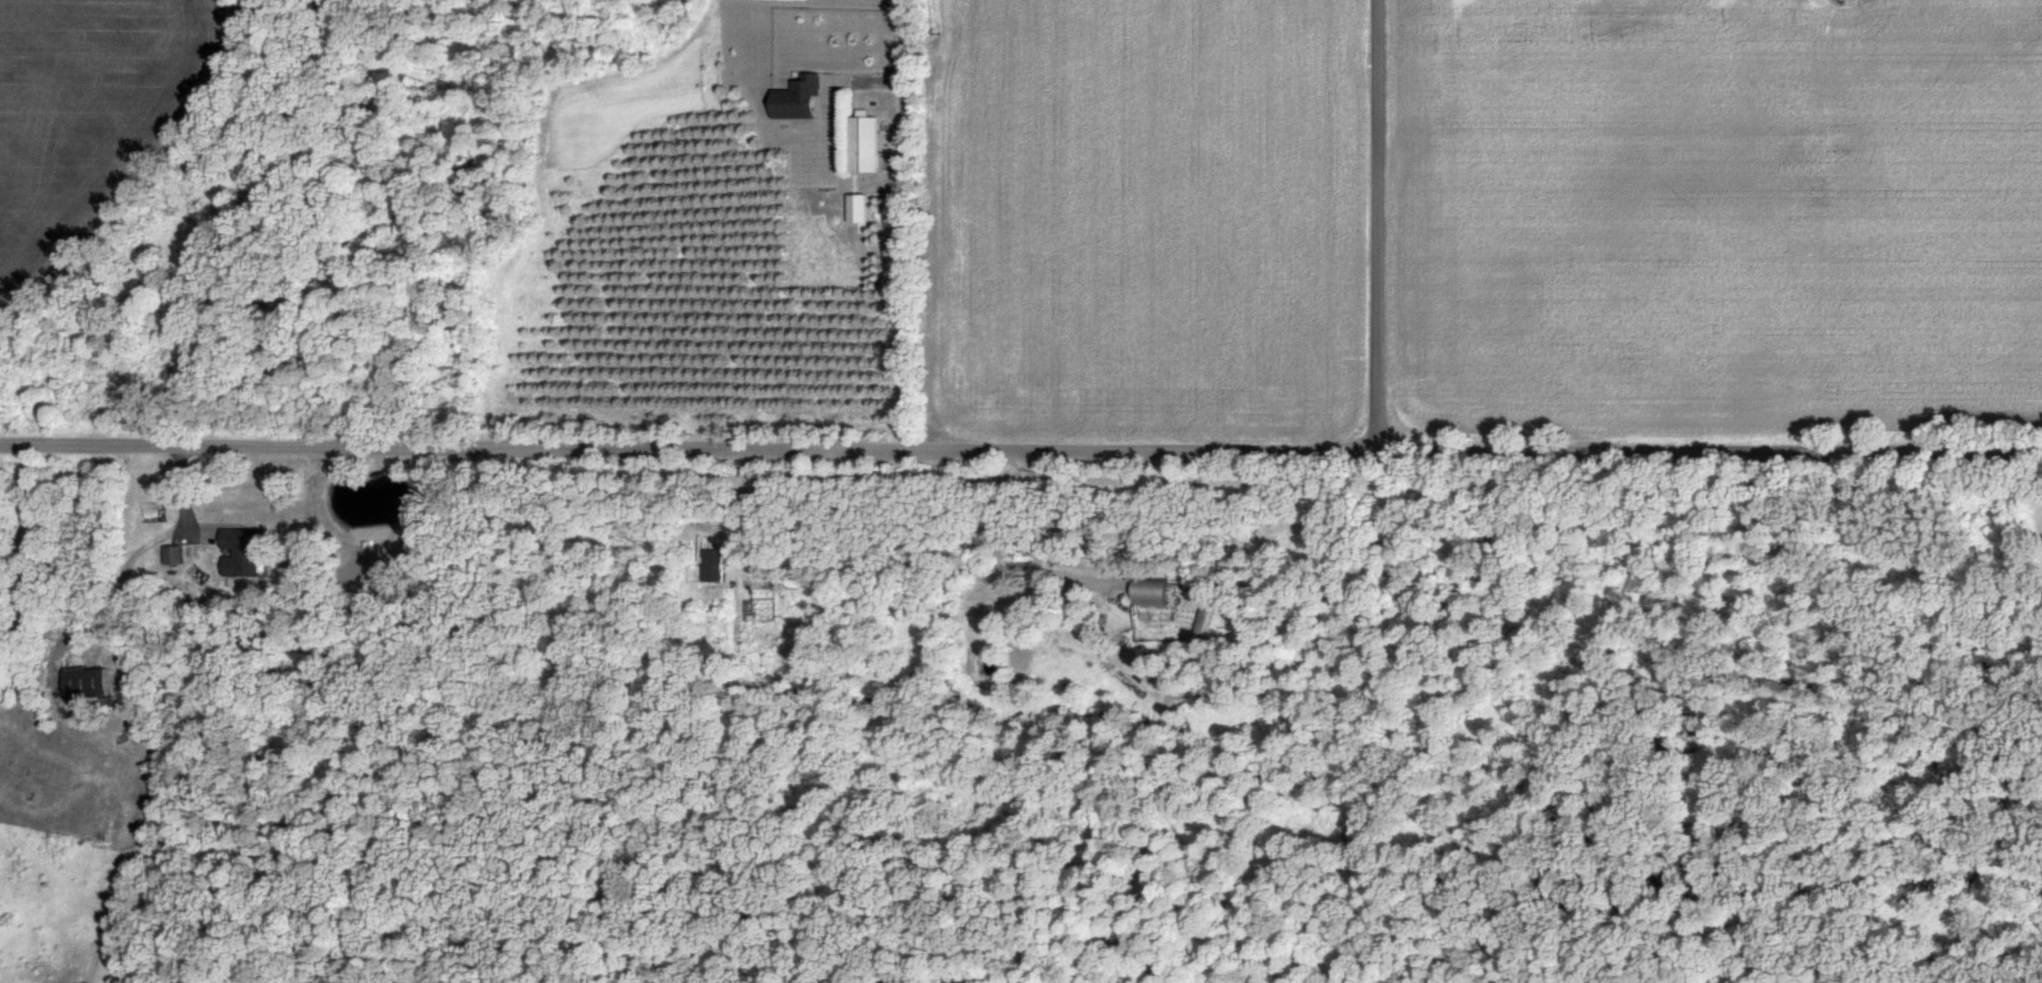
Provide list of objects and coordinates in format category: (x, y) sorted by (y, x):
building: (802, 99)
building: (867, 144)
road: (1375, 224)
road: (1020, 446)
building: (246, 552)
building: (176, 555)
building: (717, 560)
building: (1155, 597)
building: (91, 683)

